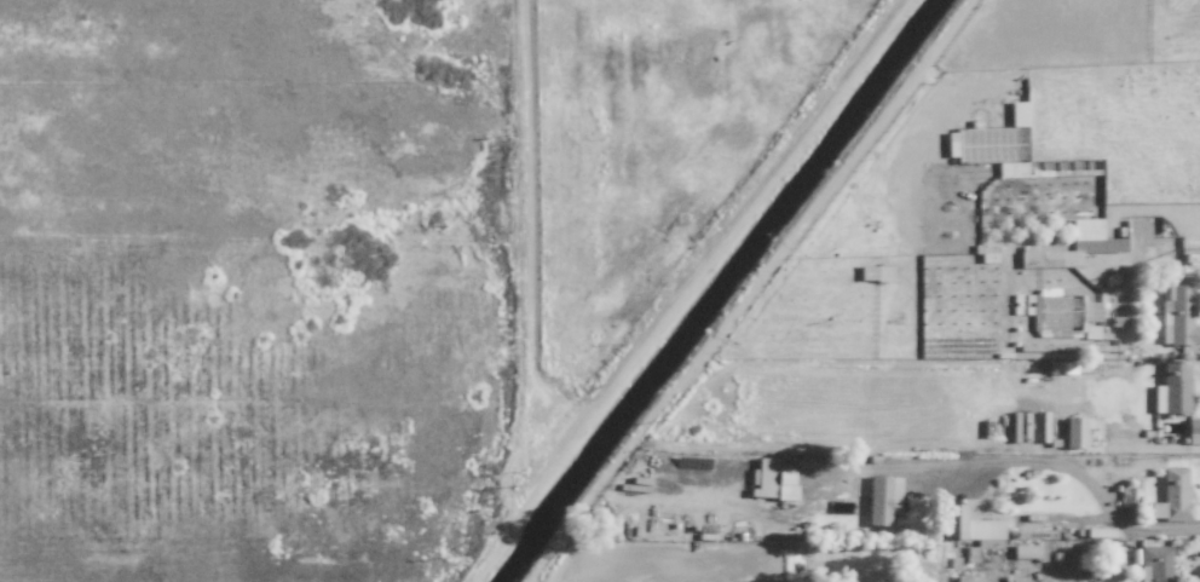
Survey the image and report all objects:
building: (1017, 113)
road: (1160, 223)
building: (1085, 227)
building: (1048, 255)
building: (1177, 313)
building: (1172, 387)
building: (1074, 431)
road: (1037, 459)
building: (772, 479)
building: (1171, 495)
building: (882, 499)
building: (976, 525)
building: (1025, 549)
building: (1154, 563)

